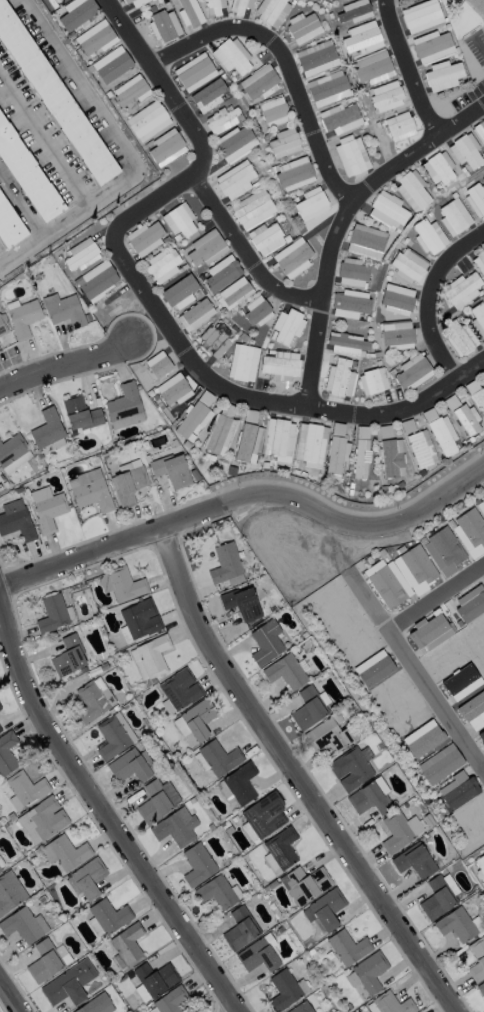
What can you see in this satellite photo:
building: (350, 0)
building: (135, 2)
building: (213, 6)
building: (239, 6)
building: (477, 6)
building: (271, 11)
building: (354, 11)
building: (76, 13)
building: (188, 13)
building: (421, 16)
building: (163, 25)
building: (304, 29)
building: (362, 37)
building: (95, 38)
building: (433, 46)
building: (232, 57)
building: (316, 58)
road: (281, 62)
building: (114, 63)
building: (372, 67)
road: (407, 67)
building: (194, 72)
building: (442, 76)
building: (259, 82)
building: (327, 88)
building: (130, 90)
building: (208, 95)
building: (52, 96)
building: (386, 96)
building: (274, 112)
building: (339, 118)
building: (147, 120)
building: (222, 120)
road: (189, 125)
building: (399, 126)
building: (479, 130)
road: (43, 141)
building: (235, 143)
building: (283, 143)
building: (166, 147)
building: (465, 151)
road: (118, 152)
building: (351, 155)
building: (438, 168)
building: (293, 174)
building: (24, 177)
building: (235, 180)
building: (412, 191)
building: (476, 198)
building: (310, 204)
road: (20, 206)
building: (252, 208)
building: (387, 211)
building: (453, 217)
building: (178, 220)
road: (338, 220)
building: (7, 229)
building: (428, 236)
building: (144, 238)
building: (265, 238)
building: (364, 243)
building: (205, 248)
road: (247, 252)
building: (80, 255)
building: (292, 258)
building: (479, 262)
building: (408, 265)
building: (161, 266)
building: (221, 273)
building: (351, 273)
building: (96, 280)
building: (461, 290)
building: (179, 292)
building: (233, 293)
road: (430, 297)
building: (396, 299)
building: (63, 310)
building: (256, 310)
building: (194, 315)
building: (22, 318)
building: (478, 319)
building: (287, 326)
building: (2, 328)
building: (396, 332)
building: (458, 338)
building: (214, 340)
building: (345, 345)
road: (186, 349)
road: (66, 361)
building: (242, 363)
building: (158, 364)
building: (280, 365)
building: (411, 372)
building: (339, 378)
building: (372, 381)
building: (172, 390)
building: (477, 396)
building: (124, 406)
road: (400, 407)
building: (79, 414)
building: (466, 419)
building: (192, 421)
building: (46, 429)
building: (218, 434)
building: (279, 439)
building: (246, 442)
building: (309, 445)
building: (421, 448)
building: (361, 452)
building: (13, 453)
building: (335, 457)
building: (391, 458)
building: (171, 470)
building: (128, 481)
building: (89, 490)
road: (247, 496)
building: (481, 506)
building: (46, 508)
building: (15, 520)
building: (469, 532)
building: (443, 551)
building: (226, 565)
road: (483, 569)
building: (402, 576)
building: (121, 585)
building: (241, 603)
building: (470, 603)
road: (370, 605)
building: (51, 614)
building: (139, 619)
building: (429, 633)
building: (265, 642)
road: (404, 655)
building: (68, 656)
building: (149, 657)
building: (285, 671)
building: (179, 689)
building: (89, 701)
building: (308, 708)
building: (0, 709)
building: (197, 719)
building: (0, 730)
building: (328, 735)
building: (481, 735)
building: (113, 736)
building: (7, 752)
building: (219, 758)
building: (439, 764)
building: (129, 766)
building: (352, 768)
road: (294, 775)
building: (237, 784)
building: (24, 789)
building: (457, 790)
building: (369, 797)
building: (157, 800)
road: (102, 804)
building: (264, 814)
building: (41, 820)
building: (175, 827)
building: (399, 831)
building: (279, 849)
building: (64, 852)
building: (414, 861)
building: (197, 865)
building: (480, 867)
building: (0, 870)
building: (87, 877)
building: (304, 884)
building: (10, 892)
building: (216, 892)
building: (436, 898)
building: (323, 910)
building: (108, 915)
building: (455, 924)
building: (23, 925)
building: (240, 928)
building: (126, 945)
building: (347, 947)
building: (257, 955)
building: (476, 958)
building: (46, 960)
building: (369, 971)
building: (153, 979)
building: (68, 983)
building: (480, 988)
building: (285, 989)
road: (11, 996)
building: (168, 1002)
building: (389, 1004)
building: (96, 1005)
building: (301, 1008)

